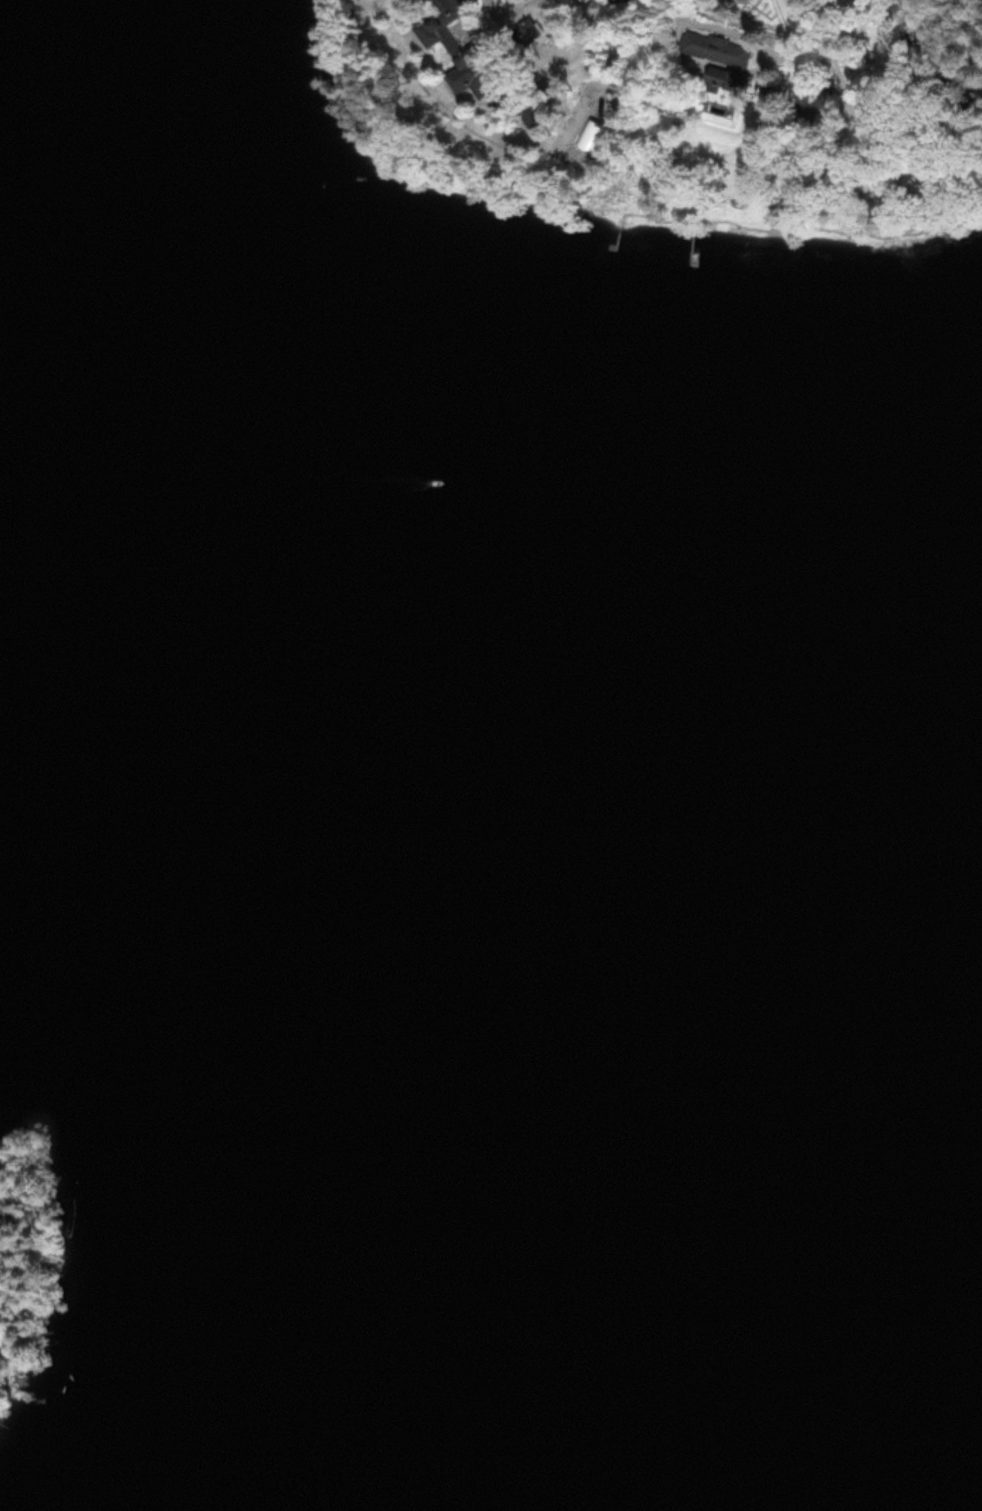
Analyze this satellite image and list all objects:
road: (504, 10)
building: (445, 13)
building: (530, 32)
building: (713, 47)
building: (726, 78)
building: (471, 80)
park: (28, 1274)

